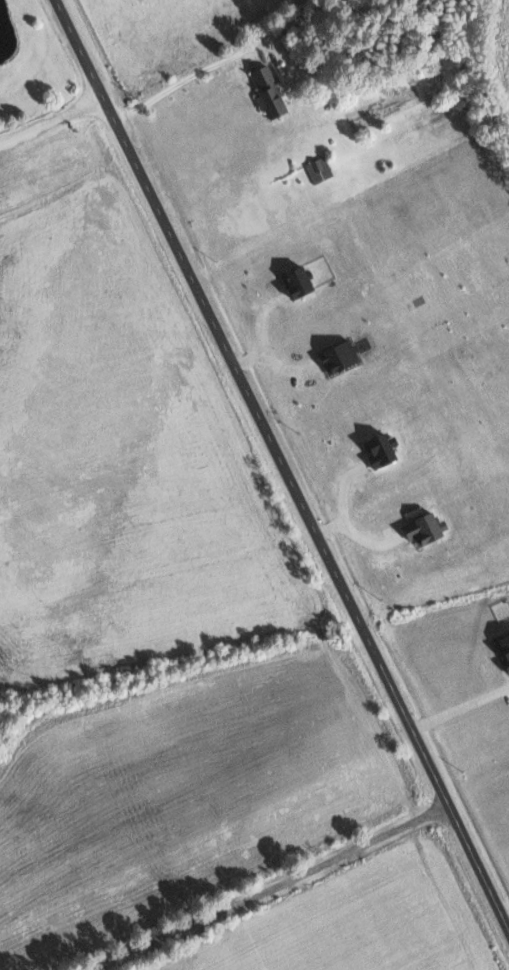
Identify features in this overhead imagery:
building: (267, 91)
road: (52, 113)
building: (318, 168)
airport runway: (37, 171)
road: (285, 463)
road: (272, 884)

